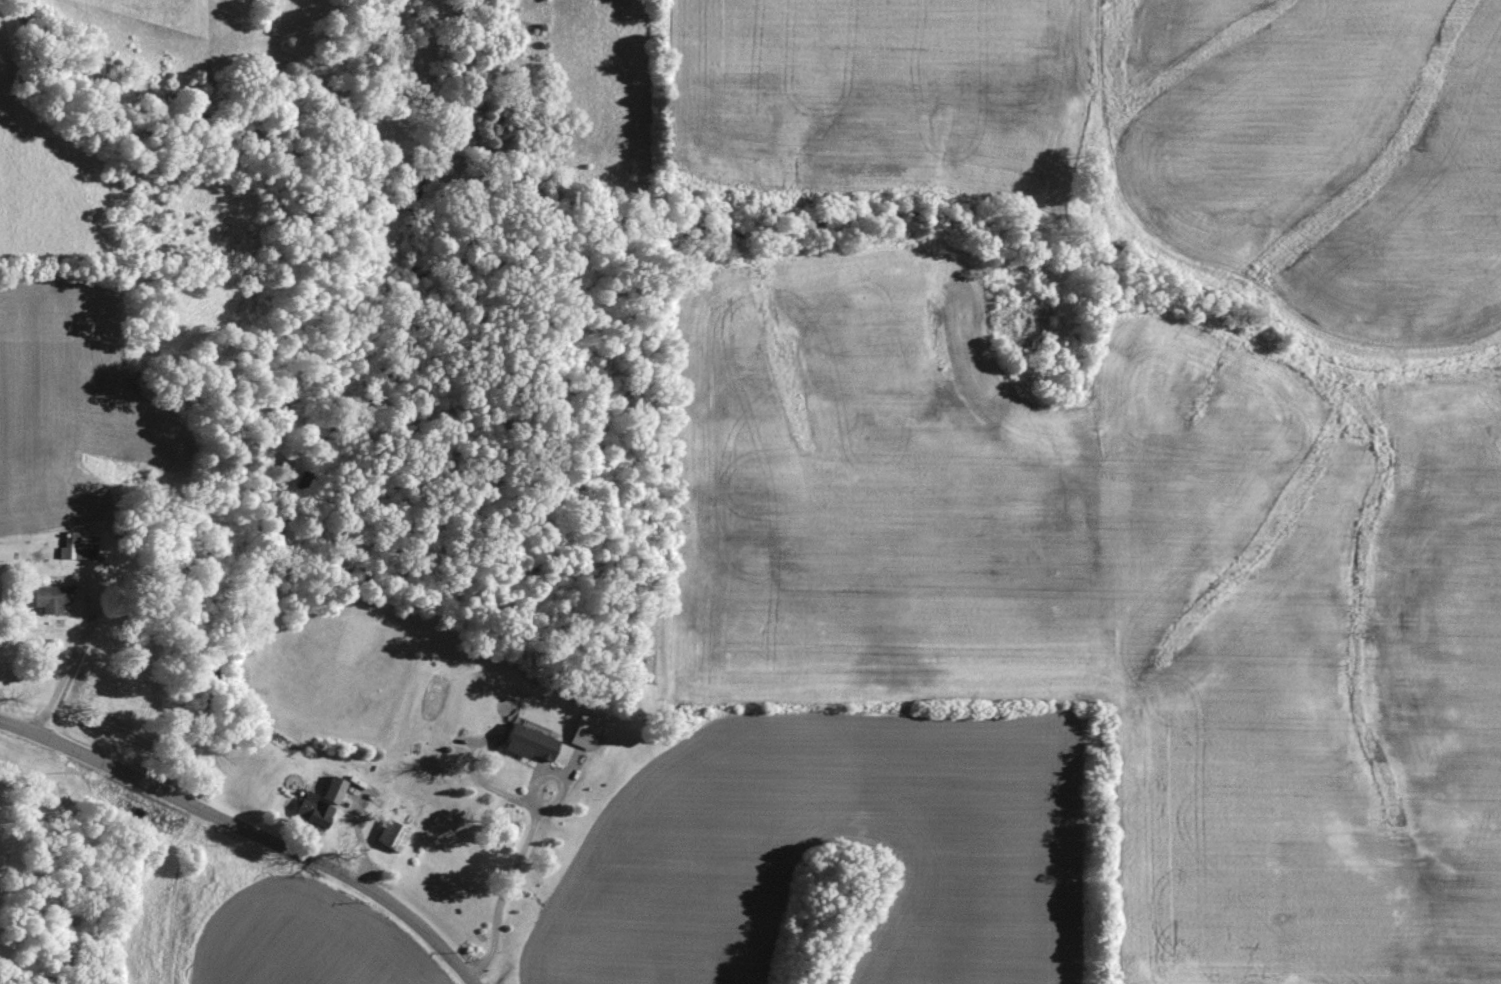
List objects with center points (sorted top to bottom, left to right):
road: (661, 83)
building: (72, 546)
building: (5, 550)
building: (47, 597)
building: (583, 730)
building: (522, 742)
building: (329, 789)
building: (309, 809)
road: (247, 828)
building: (387, 835)

